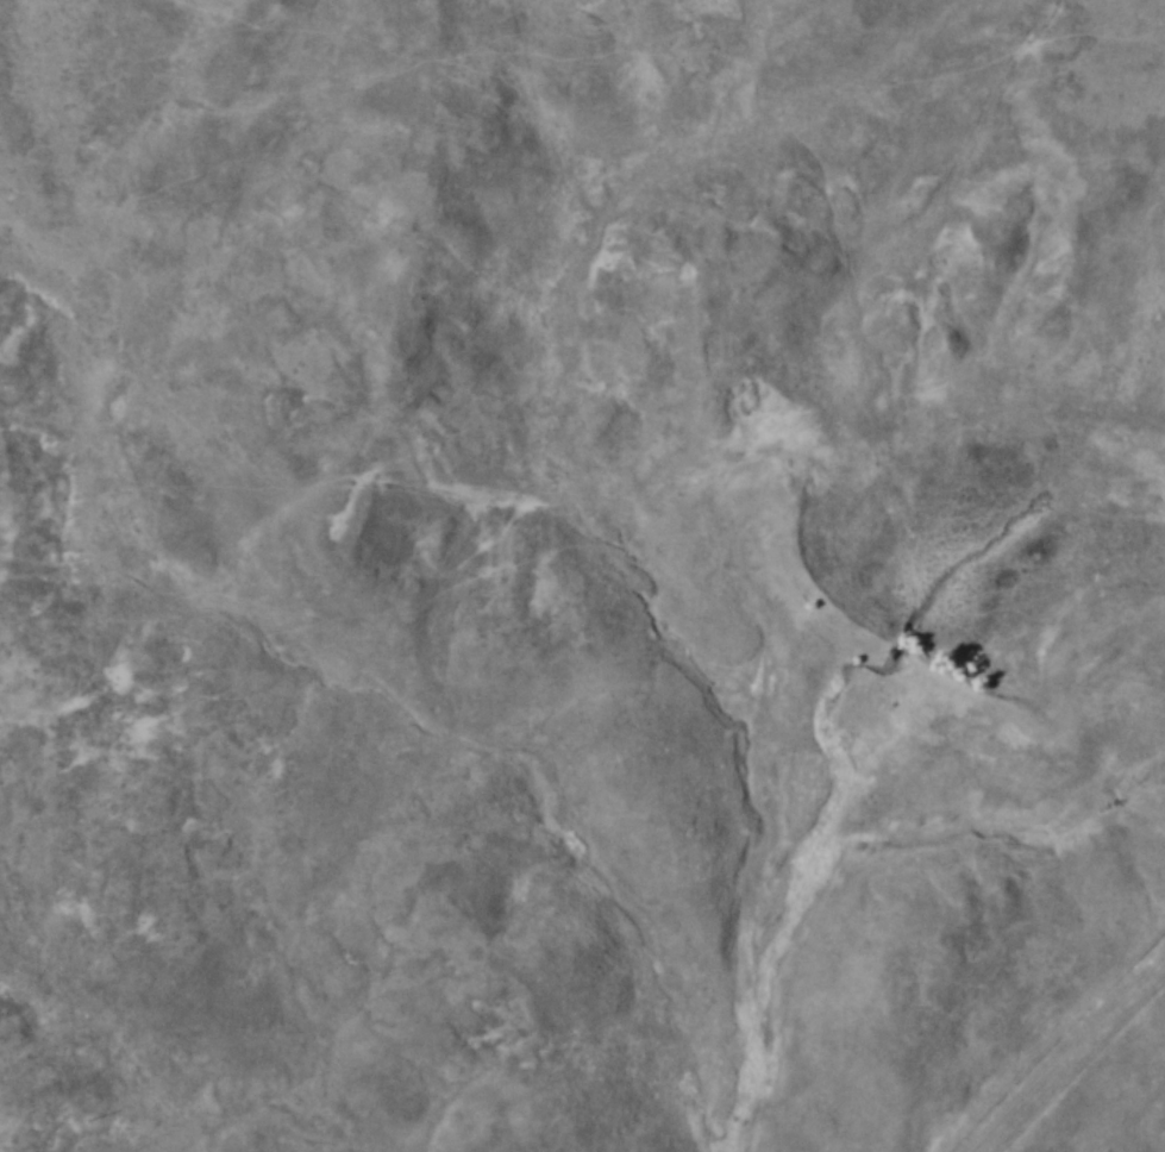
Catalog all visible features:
road: (1086, 1076)

